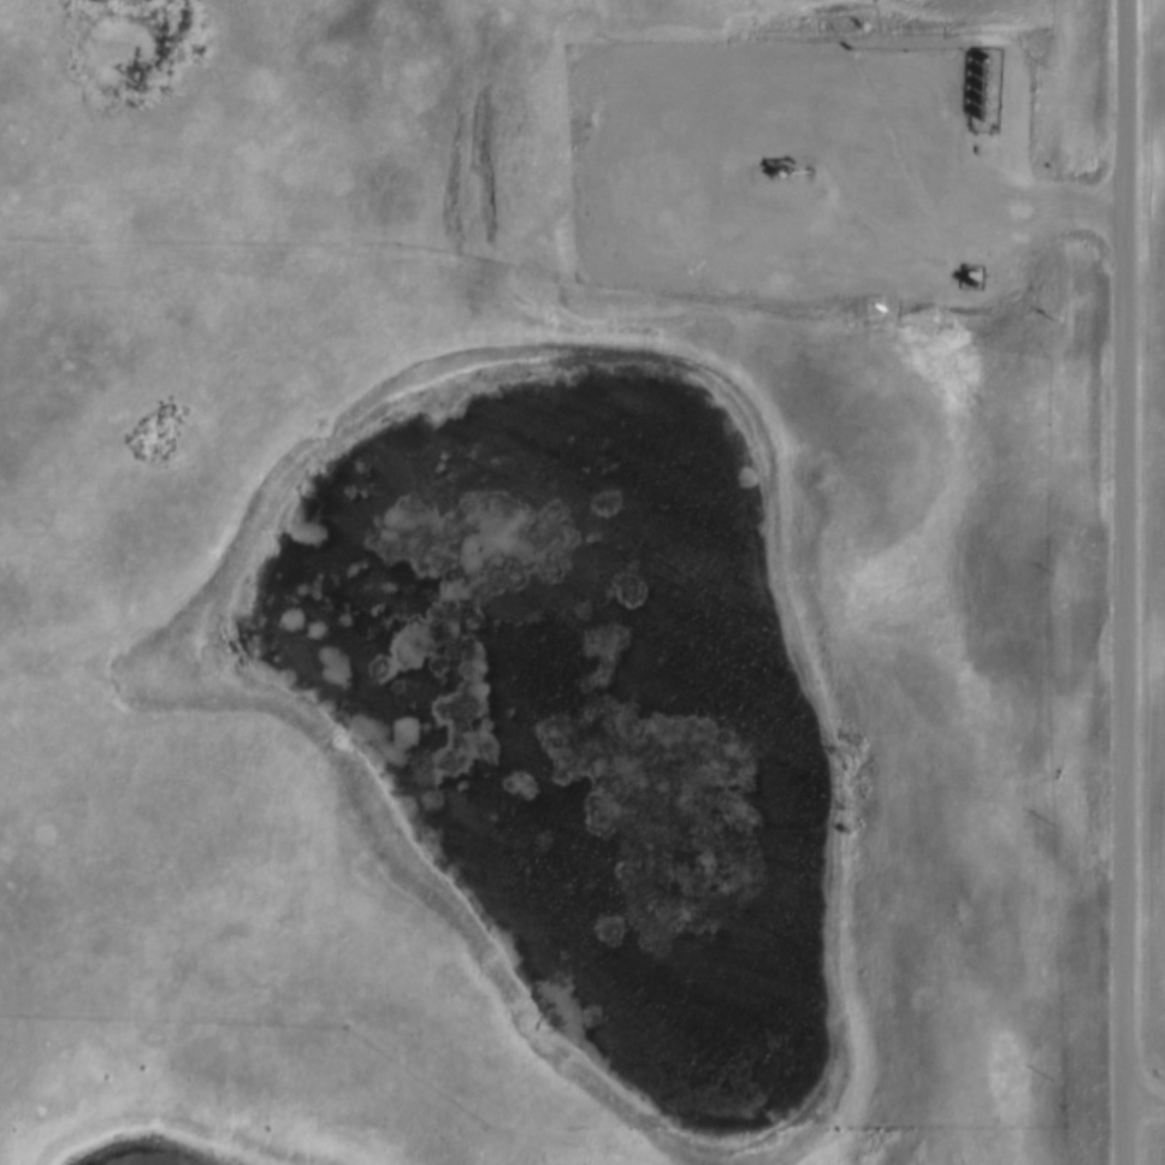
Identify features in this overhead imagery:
road: (1120, 582)
road: (1142, 1084)

